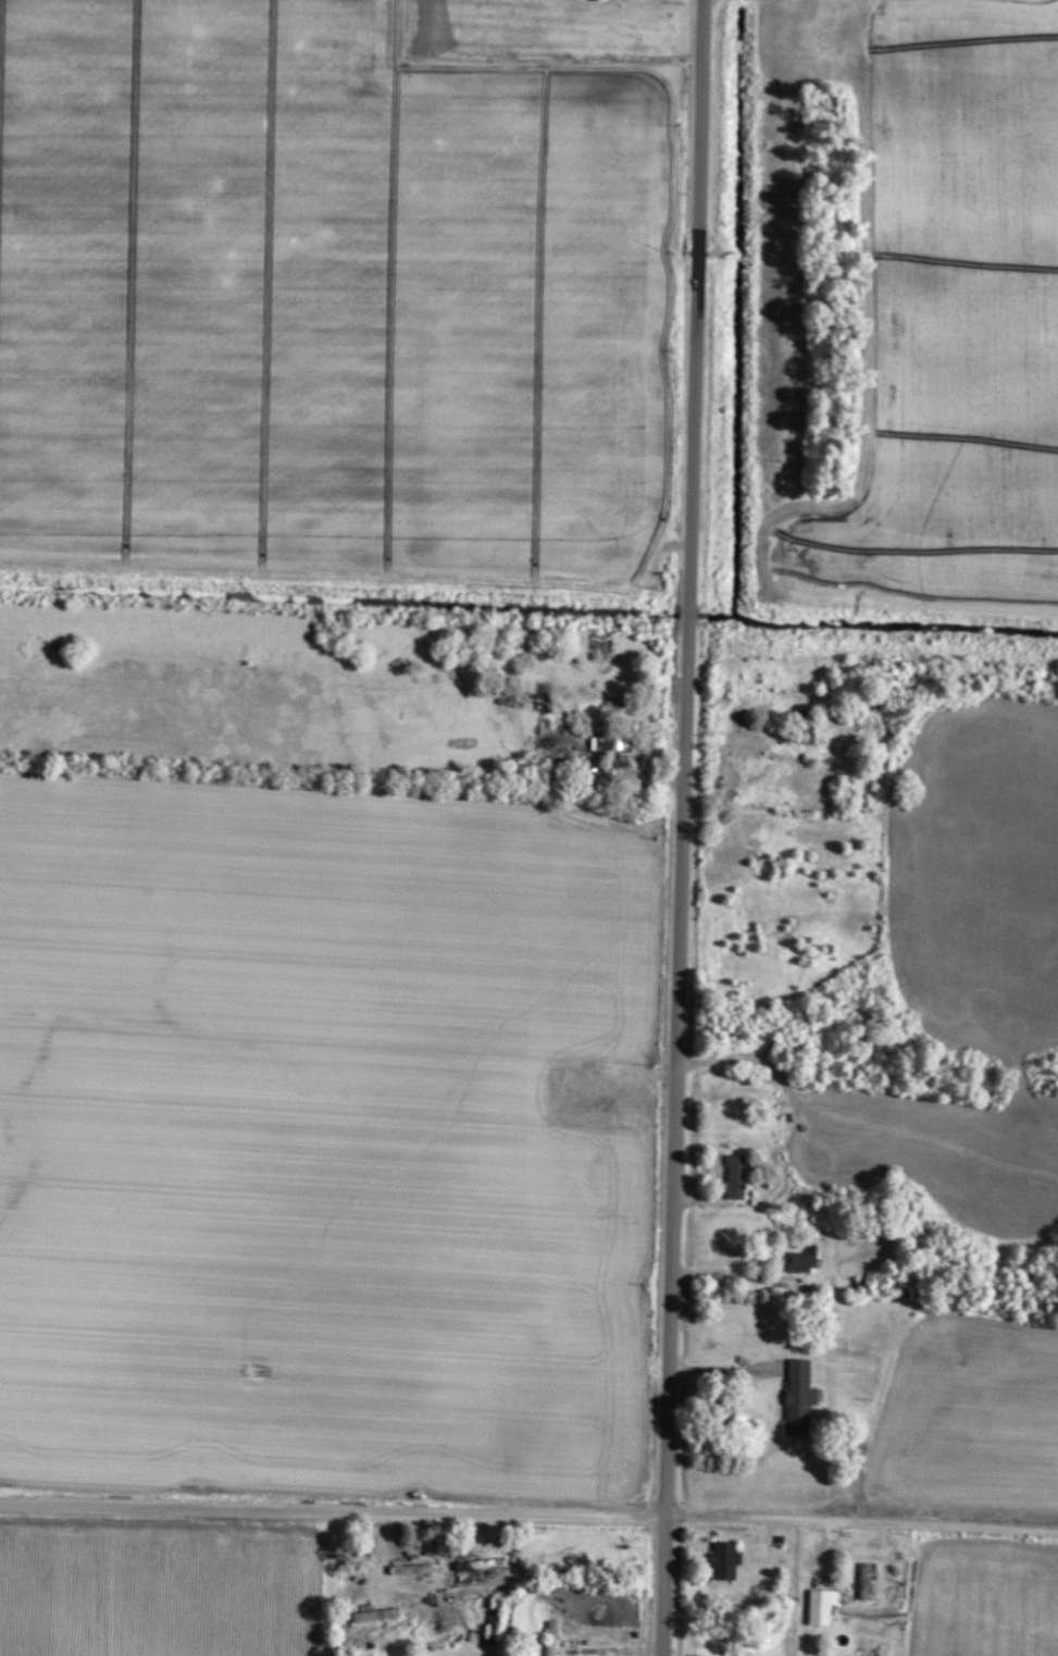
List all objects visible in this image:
road: (820, 3)
building: (801, 727)
building: (603, 742)
road: (720, 758)
road: (682, 827)
building: (733, 1176)
building: (801, 1259)
road: (738, 1277)
road: (729, 1369)
building: (798, 1398)
road: (528, 1516)
building: (723, 1560)
building: (408, 1568)
building: (861, 1580)
building: (819, 1607)
building: (375, 1615)
building: (549, 1638)

